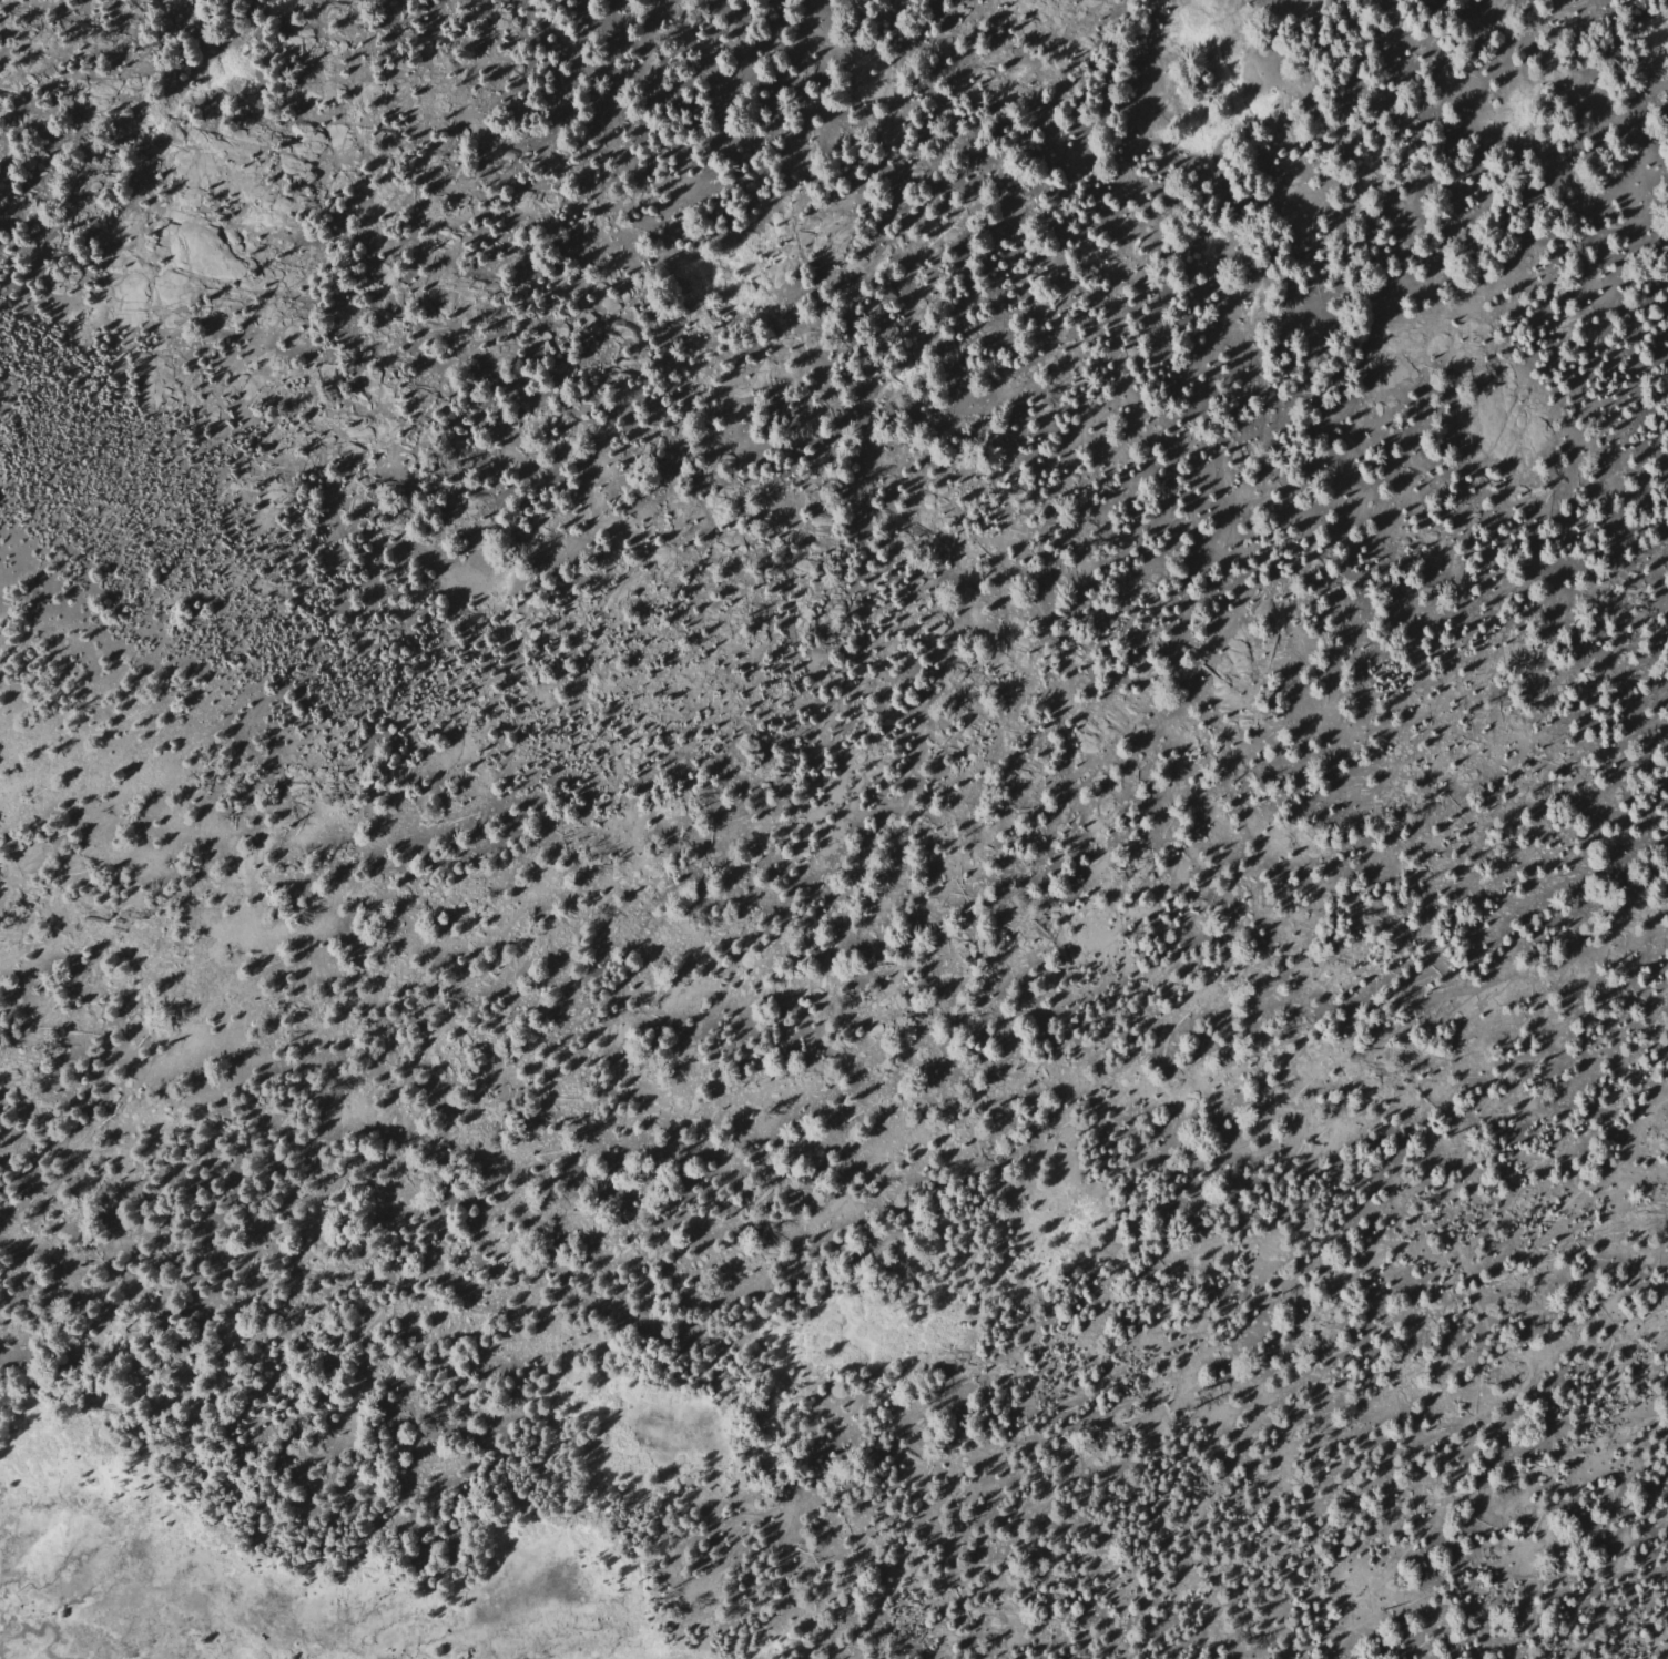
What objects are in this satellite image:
road: (1516, 1363)

